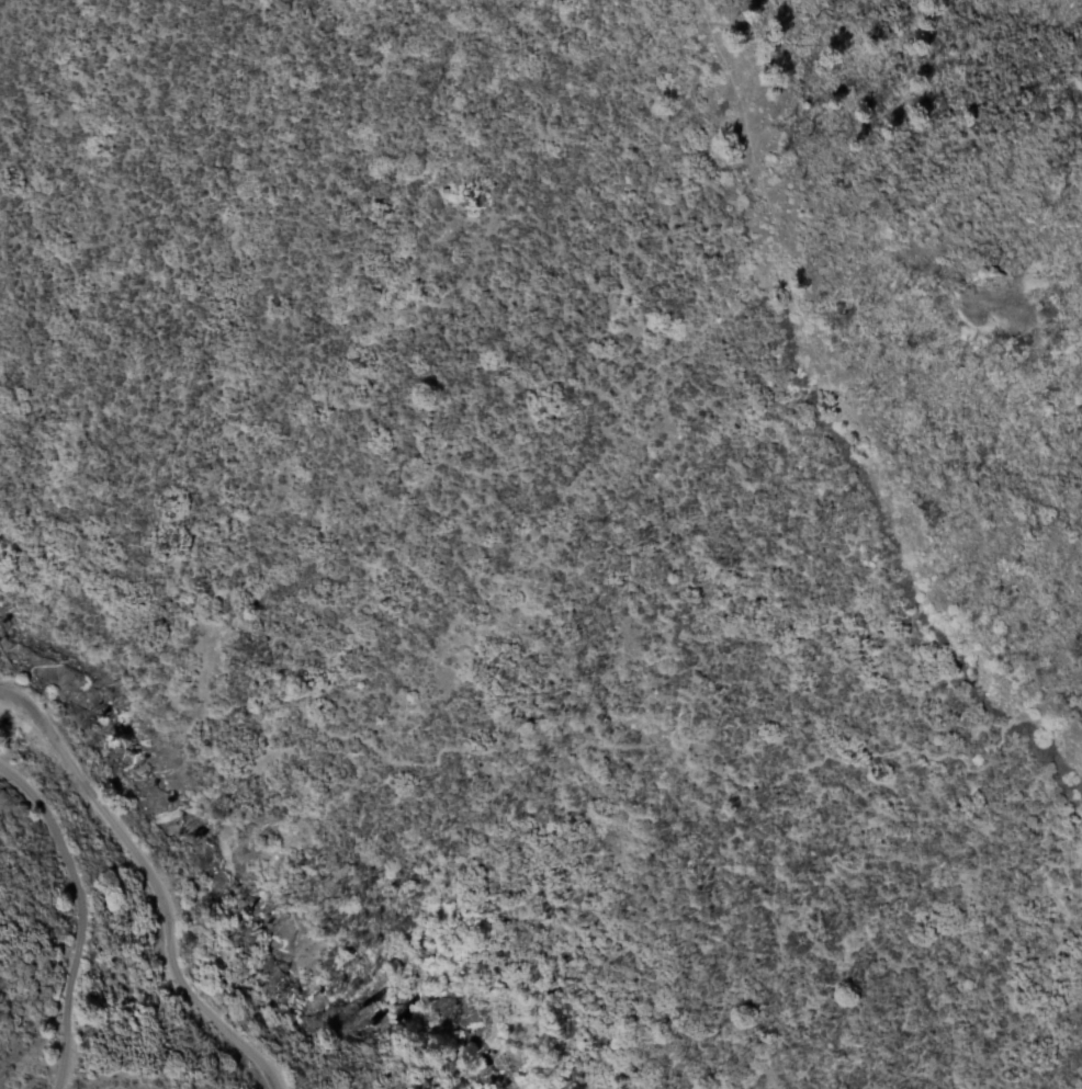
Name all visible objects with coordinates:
road: (138, 887)
road: (56, 923)

